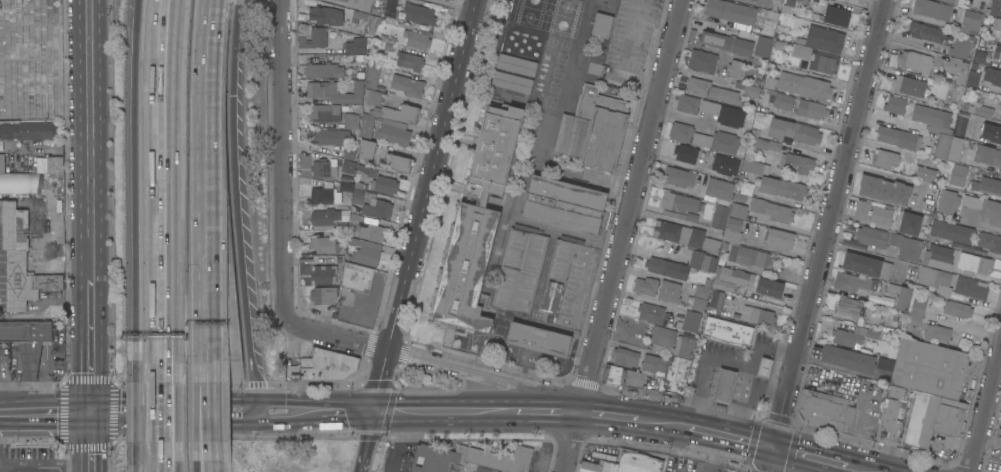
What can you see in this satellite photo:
building: (344, 0)
building: (447, 0)
building: (451, 0)
building: (754, 0)
building: (952, 1)
building: (543, 2)
building: (793, 2)
building: (970, 2)
road: (457, 4)
building: (365, 5)
building: (994, 7)
building: (932, 9)
building: (731, 11)
building: (419, 14)
building: (326, 15)
building: (833, 15)
building: (527, 20)
building: (787, 20)
building: (358, 21)
building: (971, 21)
building: (373, 23)
building: (770, 23)
building: (997, 23)
building: (602, 25)
road: (715, 26)
building: (930, 33)
building: (317, 37)
building: (1000, 37)
building: (523, 38)
building: (823, 38)
building: (417, 39)
building: (715, 40)
building: (777, 44)
building: (356, 46)
building: (742, 46)
building: (962, 46)
building: (762, 48)
building: (602, 52)
building: (997, 52)
building: (979, 56)
building: (818, 58)
building: (410, 60)
building: (702, 60)
park: (33, 61)
building: (915, 61)
building: (516, 64)
building: (758, 65)
building: (595, 68)
building: (735, 68)
building: (957, 68)
building: (325, 70)
building: (992, 76)
building: (973, 80)
building: (512, 82)
building: (372, 85)
building: (407, 85)
building: (800, 85)
building: (908, 86)
building: (752, 90)
building: (335, 91)
building: (712, 91)
building: (764, 96)
building: (783, 101)
building: (688, 103)
building: (1000, 103)
building: (895, 104)
building: (964, 106)
building: (811, 109)
building: (981, 110)
building: (325, 112)
building: (398, 112)
building: (723, 113)
road: (980, 118)
building: (351, 120)
building: (962, 123)
building: (366, 125)
building: (935, 126)
building: (594, 129)
building: (25, 131)
building: (681, 131)
building: (794, 131)
building: (755, 132)
building: (991, 132)
building: (391, 133)
building: (329, 136)
building: (899, 137)
road: (91, 139)
building: (717, 141)
building: (766, 145)
building: (367, 148)
building: (955, 149)
building: (349, 152)
building: (686, 153)
building: (987, 155)
building: (884, 158)
road: (282, 159)
building: (398, 162)
building: (1, 163)
building: (54, 164)
building: (725, 164)
building: (794, 164)
building: (42, 165)
building: (325, 166)
building: (348, 166)
building: (750, 167)
building: (926, 172)
building: (957, 175)
building: (679, 176)
building: (378, 179)
building: (18, 183)
building: (987, 186)
building: (719, 188)
building: (782, 188)
road: (137, 189)
building: (885, 189)
road: (207, 190)
road: (166, 191)
building: (325, 194)
building: (357, 196)
building: (738, 197)
building: (929, 197)
road: (50, 199)
building: (971, 201)
building: (679, 202)
building: (947, 202)
road: (239, 205)
road: (425, 205)
building: (565, 205)
building: (377, 208)
building: (739, 210)
building: (772, 210)
building: (874, 212)
building: (991, 212)
building: (325, 216)
building: (720, 216)
road: (673, 221)
building: (477, 222)
building: (910, 223)
building: (366, 227)
road: (78, 228)
building: (952, 231)
building: (679, 233)
road: (827, 235)
road: (624, 236)
building: (733, 236)
building: (772, 236)
building: (890, 241)
building: (989, 242)
building: (711, 244)
building: (323, 245)
building: (365, 251)
building: (731, 254)
building: (563, 257)
building: (753, 257)
building: (938, 257)
building: (702, 261)
building: (18, 262)
road: (56, 264)
road: (79, 264)
building: (973, 264)
building: (867, 265)
building: (666, 268)
building: (520, 269)
building: (324, 274)
building: (357, 277)
building: (936, 279)
building: (732, 280)
building: (853, 282)
building: (646, 286)
building: (769, 287)
building: (904, 287)
building: (703, 288)
building: (971, 288)
building: (669, 291)
building: (323, 295)
road: (56, 296)
road: (78, 296)
building: (551, 296)
road: (645, 299)
building: (699, 303)
building: (719, 303)
building: (849, 307)
building: (957, 308)
building: (917, 309)
building: (651, 313)
building: (756, 314)
building: (691, 321)
building: (727, 332)
building: (866, 332)
building: (937, 333)
road: (337, 336)
building: (846, 337)
building: (539, 339)
building: (27, 342)
building: (671, 342)
road: (92, 345)
building: (625, 357)
road: (44, 358)
building: (848, 358)
road: (42, 361)
road: (29, 362)
building: (884, 363)
building: (328, 366)
building: (765, 367)
road: (834, 368)
building: (929, 368)
building: (667, 371)
road: (470, 373)
road: (705, 375)
road: (749, 375)
building: (622, 376)
building: (725, 385)
road: (18, 388)
road: (767, 389)
road: (985, 409)
road: (137, 410)
building: (824, 410)
road: (174, 411)
road: (208, 411)
traffic signals: (256, 411)
road: (288, 411)
road: (46, 412)
traffic signals: (93, 412)
road: (348, 412)
traffic signals: (376, 412)
road: (444, 412)
road: (546, 412)
road: (170, 413)
road: (607, 416)
building: (892, 416)
building: (932, 417)
road: (662, 422)
road: (731, 438)
road: (93, 442)
road: (368, 442)
road: (398, 442)
road: (209, 449)
traffic signals: (774, 449)
road: (137, 456)
road: (169, 458)
road: (171, 458)
road: (810, 458)
building: (468, 459)
road: (46, 464)
building: (624, 464)
road: (209, 465)
road: (210, 465)
road: (856, 469)
building: (491, 470)
building: (688, 471)

